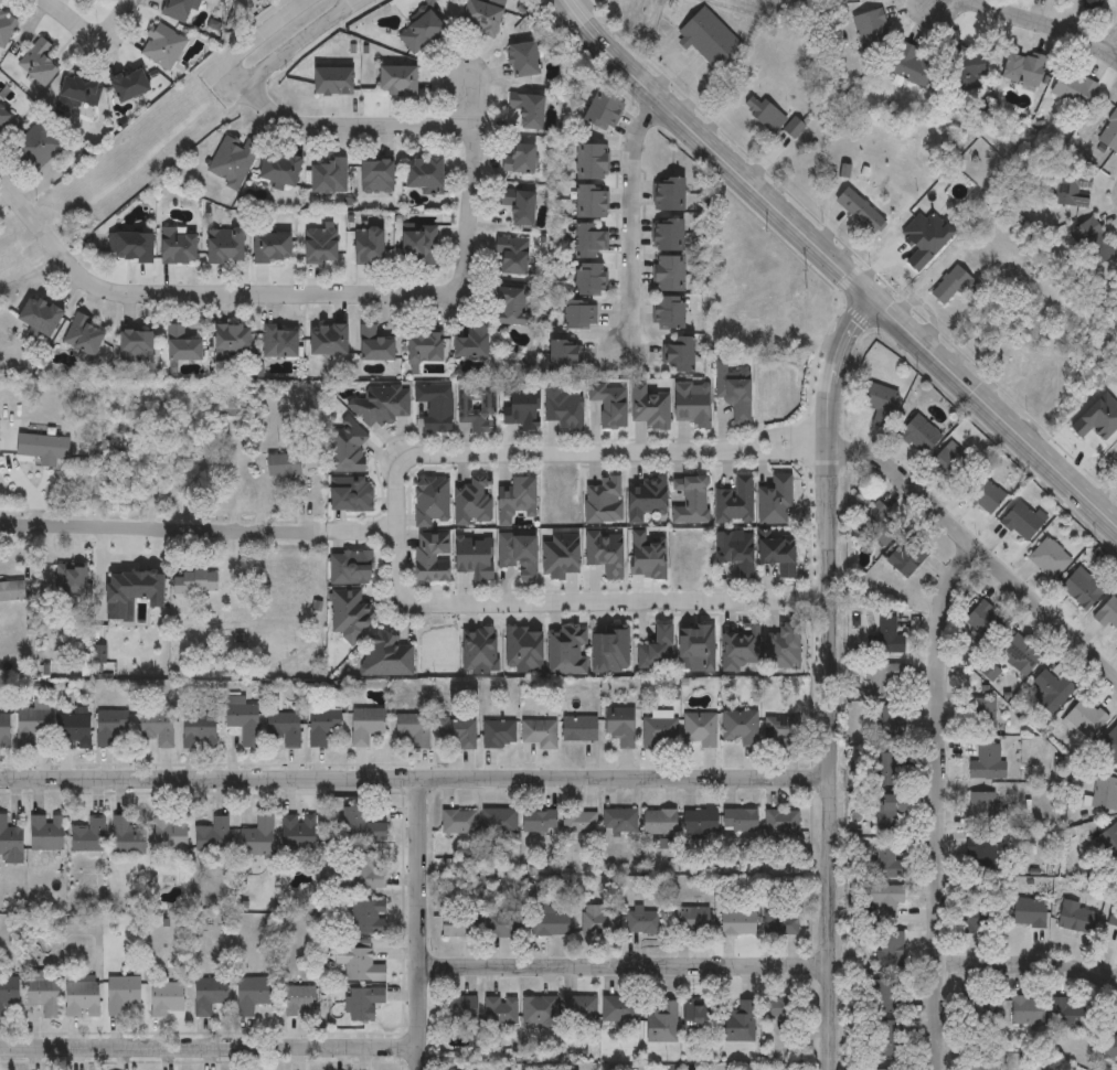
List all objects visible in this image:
building: (94, 0)
building: (1095, 2)
road: (579, 6)
building: (177, 9)
building: (480, 17)
building: (6, 26)
building: (871, 30)
road: (1046, 30)
road: (92, 32)
road: (266, 32)
building: (419, 32)
building: (711, 41)
road: (302, 43)
building: (161, 46)
road: (1109, 47)
building: (522, 60)
building: (38, 62)
building: (967, 63)
building: (912, 66)
building: (1022, 69)
building: (332, 81)
building: (396, 81)
building: (129, 84)
building: (1074, 88)
building: (79, 89)
building: (526, 109)
building: (604, 110)
building: (764, 115)
building: (4, 118)
road: (337, 125)
building: (794, 130)
building: (1109, 133)
building: (35, 145)
building: (518, 158)
building: (230, 160)
building: (592, 161)
building: (279, 168)
building: (423, 173)
building: (327, 176)
building: (375, 176)
road: (472, 183)
building: (1071, 191)
building: (669, 193)
building: (592, 200)
building: (518, 205)
building: (859, 212)
road: (631, 221)
building: (668, 235)
building: (589, 239)
building: (1092, 242)
building: (320, 245)
building: (418, 245)
building: (128, 246)
building: (177, 246)
building: (224, 246)
building: (368, 246)
building: (272, 247)
building: (512, 256)
road: (837, 267)
building: (669, 272)
building: (589, 278)
building: (950, 287)
road: (208, 291)
building: (513, 307)
building: (669, 312)
building: (581, 314)
building: (39, 317)
building: (83, 336)
building: (231, 340)
building: (328, 340)
building: (278, 341)
building: (183, 343)
building: (470, 343)
building: (374, 345)
building: (135, 346)
building: (424, 347)
building: (679, 355)
building: (563, 356)
building: (734, 390)
building: (876, 398)
building: (609, 403)
building: (475, 404)
building: (691, 404)
building: (435, 405)
building: (650, 405)
building: (381, 406)
building: (521, 406)
building: (563, 407)
building: (917, 434)
building: (42, 447)
building: (349, 453)
building: (128, 459)
building: (950, 463)
building: (284, 467)
building: (982, 495)
building: (645, 496)
building: (517, 499)
building: (690, 499)
building: (602, 500)
building: (734, 500)
building: (472, 501)
road: (390, 511)
building: (1019, 521)
building: (877, 522)
road: (351, 529)
road: (156, 531)
building: (735, 550)
building: (519, 553)
building: (476, 555)
road: (979, 555)
building: (430, 556)
building: (905, 557)
building: (1049, 558)
building: (353, 568)
building: (72, 582)
building: (196, 588)
building: (1081, 588)
building: (12, 591)
road: (816, 600)
building: (1107, 613)
building: (352, 617)
building: (982, 619)
building: (884, 639)
building: (743, 649)
building: (1017, 654)
building: (390, 657)
road: (838, 678)
building: (884, 681)
building: (1051, 691)
building: (983, 714)
building: (1084, 718)
building: (32, 719)
building: (243, 719)
building: (889, 724)
building: (366, 725)
building: (109, 726)
building: (322, 726)
building: (621, 726)
building: (284, 727)
building: (738, 727)
building: (156, 728)
building: (579, 728)
building: (700, 728)
building: (413, 729)
building: (3, 731)
building: (74, 731)
building: (199, 731)
building: (780, 731)
building: (458, 732)
building: (660, 732)
building: (498, 735)
building: (541, 735)
building: (1109, 742)
building: (986, 762)
building: (884, 769)
road: (418, 780)
building: (1104, 793)
road: (936, 803)
building: (979, 809)
building: (887, 813)
building: (498, 821)
building: (540, 821)
building: (619, 821)
building: (736, 821)
building: (458, 822)
building: (579, 822)
building: (696, 822)
building: (779, 822)
building: (658, 823)
building: (360, 826)
building: (45, 832)
building: (298, 832)
building: (169, 833)
building: (87, 835)
building: (212, 835)
building: (125, 837)
building: (257, 838)
building: (10, 843)
building: (1109, 844)
building: (979, 855)
building: (883, 863)
building: (366, 874)
building: (883, 902)
building: (1026, 911)
building: (974, 916)
building: (1073, 917)
building: (1111, 917)
building: (369, 918)
building: (687, 920)
building: (596, 921)
building: (550, 922)
building: (641, 923)
road: (423, 924)
building: (733, 924)
building: (778, 924)
building: (460, 925)
building: (502, 925)
building: (887, 949)
building: (360, 964)
road: (1026, 965)
road: (629, 967)
building: (9, 992)
building: (43, 994)
building: (121, 994)
building: (209, 995)
building: (252, 995)
building: (883, 996)
building: (82, 998)
building: (166, 999)
building: (300, 1001)
building: (364, 1003)
building: (460, 1009)
building: (539, 1009)
building: (579, 1009)
building: (618, 1009)
building: (500, 1010)
building: (1024, 1010)
building: (979, 1012)
building: (704, 1013)
building: (1064, 1013)
building: (687, 1018)
building: (778, 1018)
building: (658, 1023)
building: (735, 1025)
building: (886, 1038)
road: (210, 1048)
building: (1108, 1049)
building: (979, 1066)

